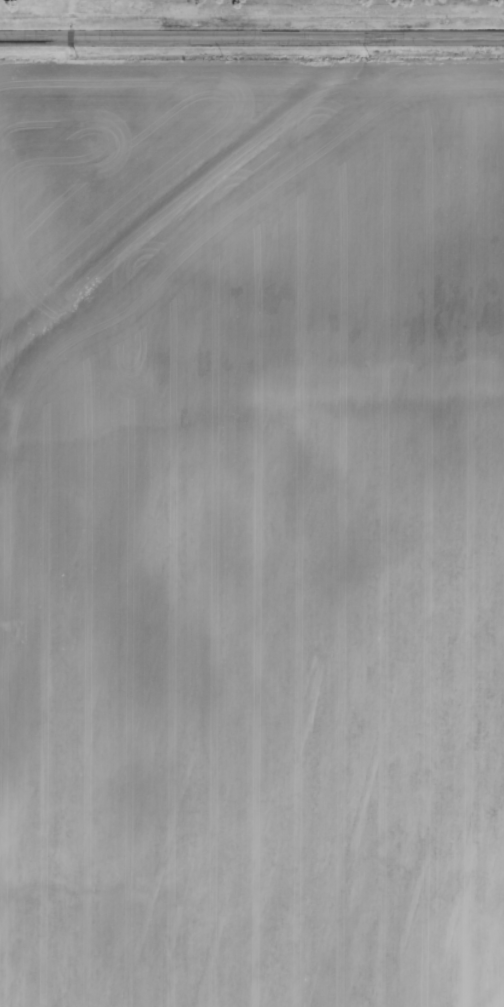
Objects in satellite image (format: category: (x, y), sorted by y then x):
road: (252, 39)

